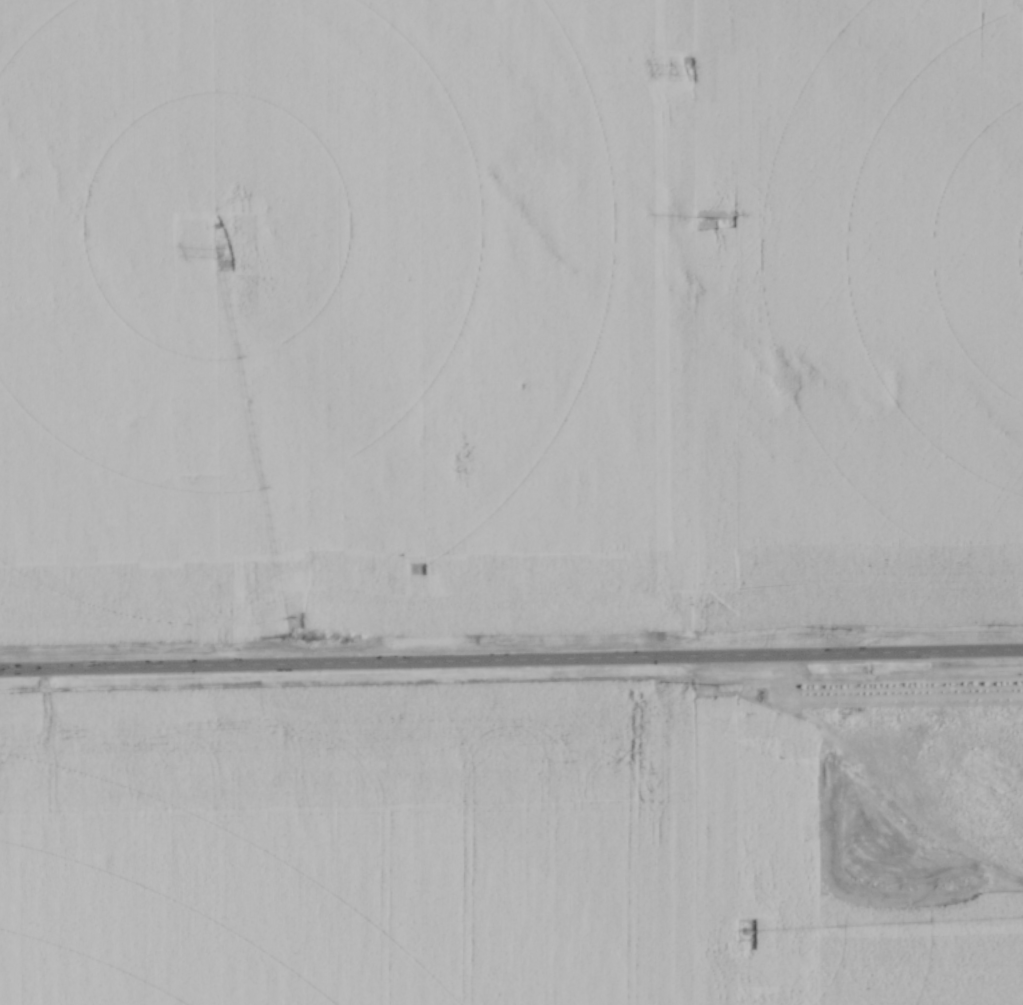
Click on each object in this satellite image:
power tower: (686, 70)
power tower: (724, 217)
power tower: (225, 253)
road: (511, 658)
power tower: (729, 685)

